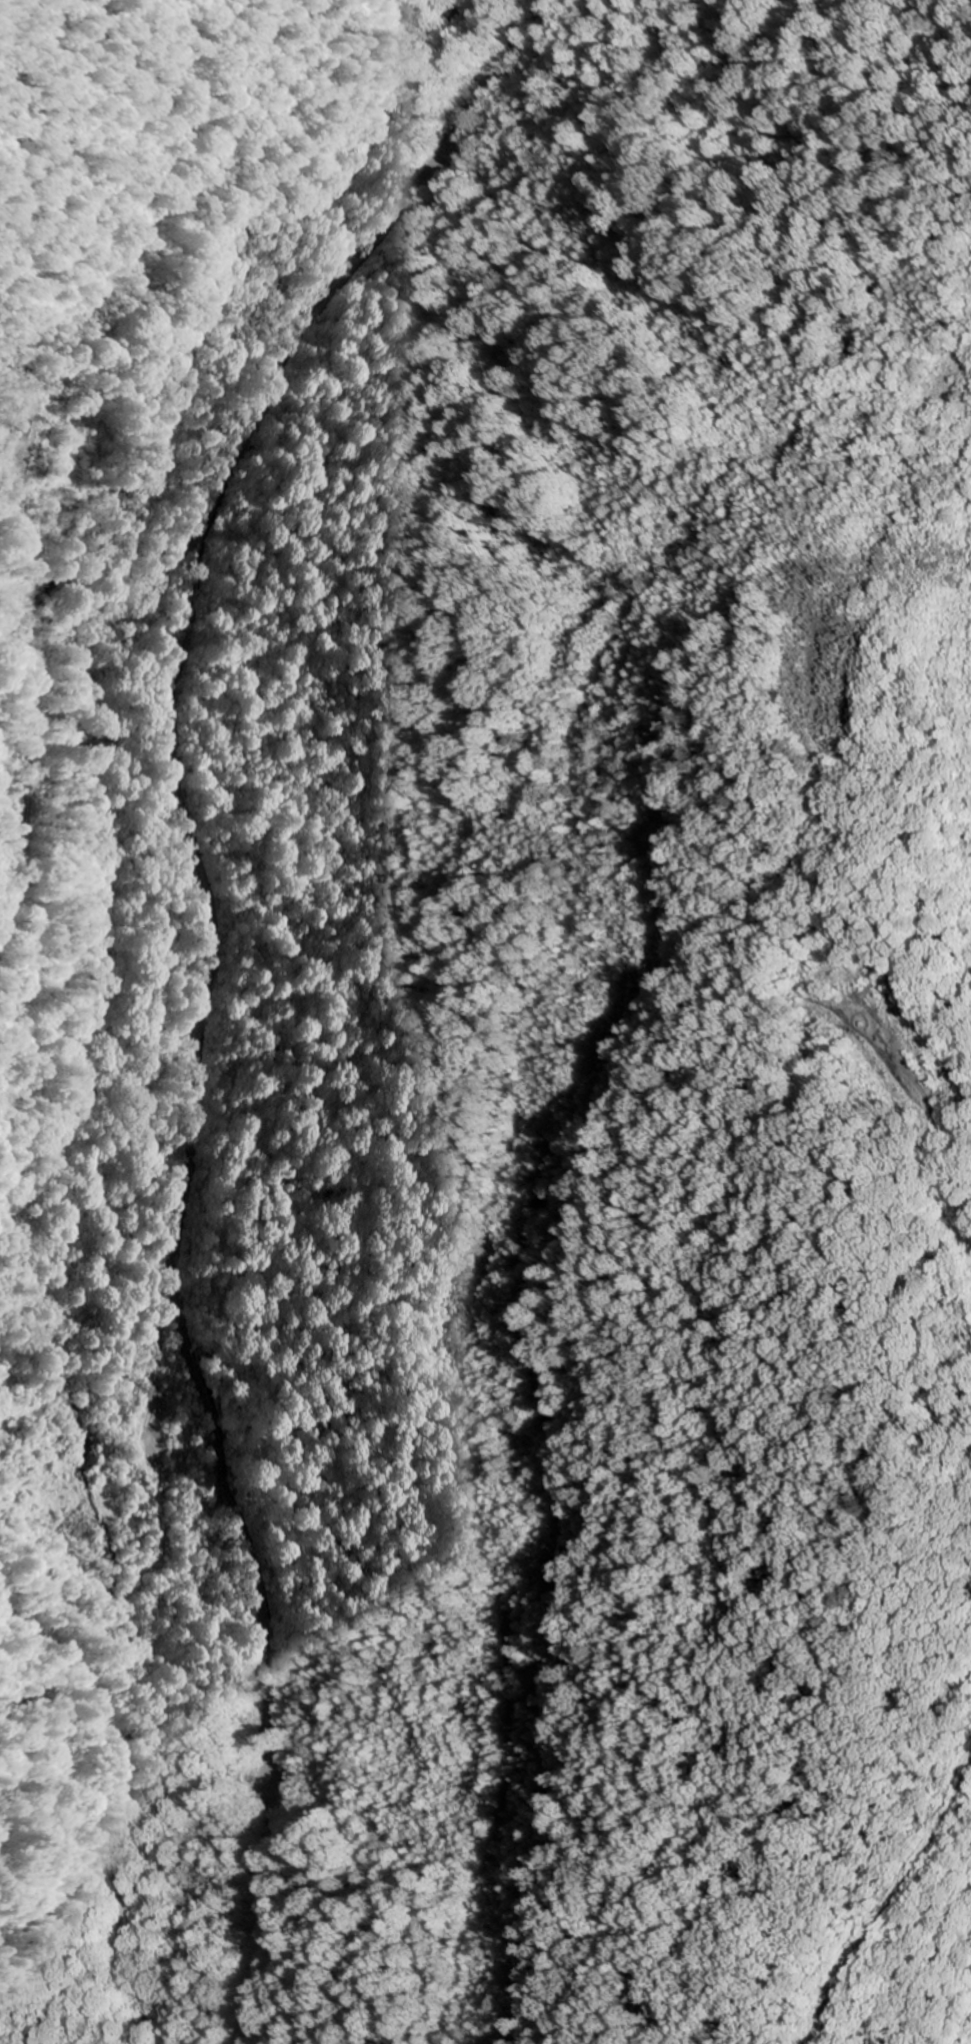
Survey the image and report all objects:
road: (280, 328)
road: (120, 1188)

